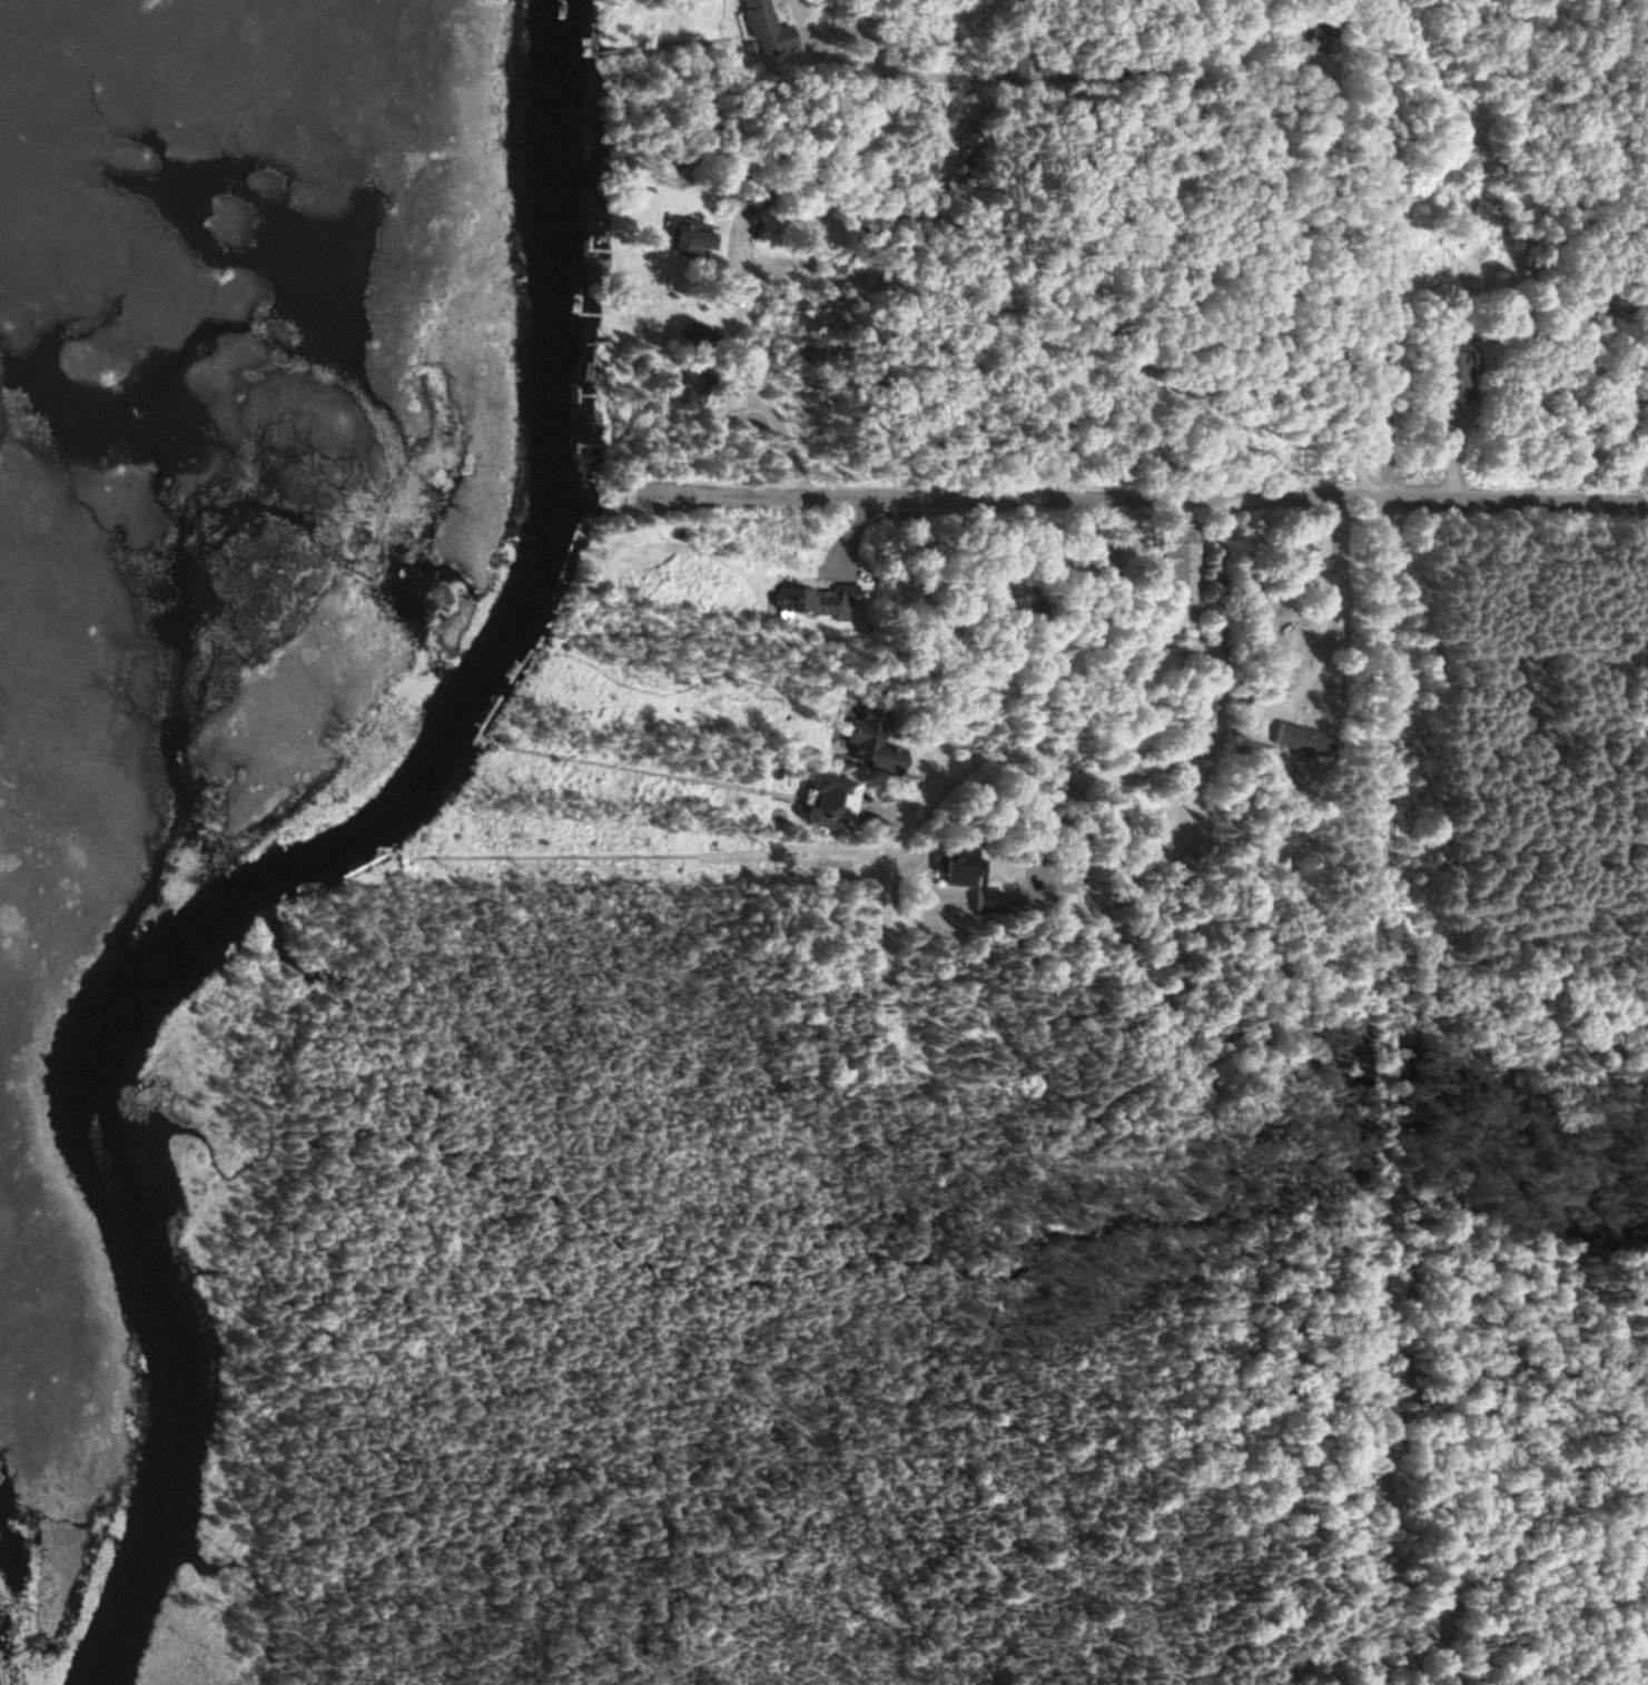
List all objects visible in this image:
building: (763, 31)
building: (1318, 38)
road: (1054, 78)
building: (688, 243)
road: (1263, 303)
road: (1005, 311)
building: (1449, 378)
building: (1607, 415)
road: (782, 425)
road: (736, 440)
road: (987, 501)
road: (1340, 504)
road: (1500, 504)
building: (1174, 579)
building: (816, 601)
building: (1296, 647)
building: (1523, 710)
building: (1300, 740)
building: (868, 743)
road: (1144, 776)
building: (823, 802)
road: (1389, 841)
river: (314, 859)

